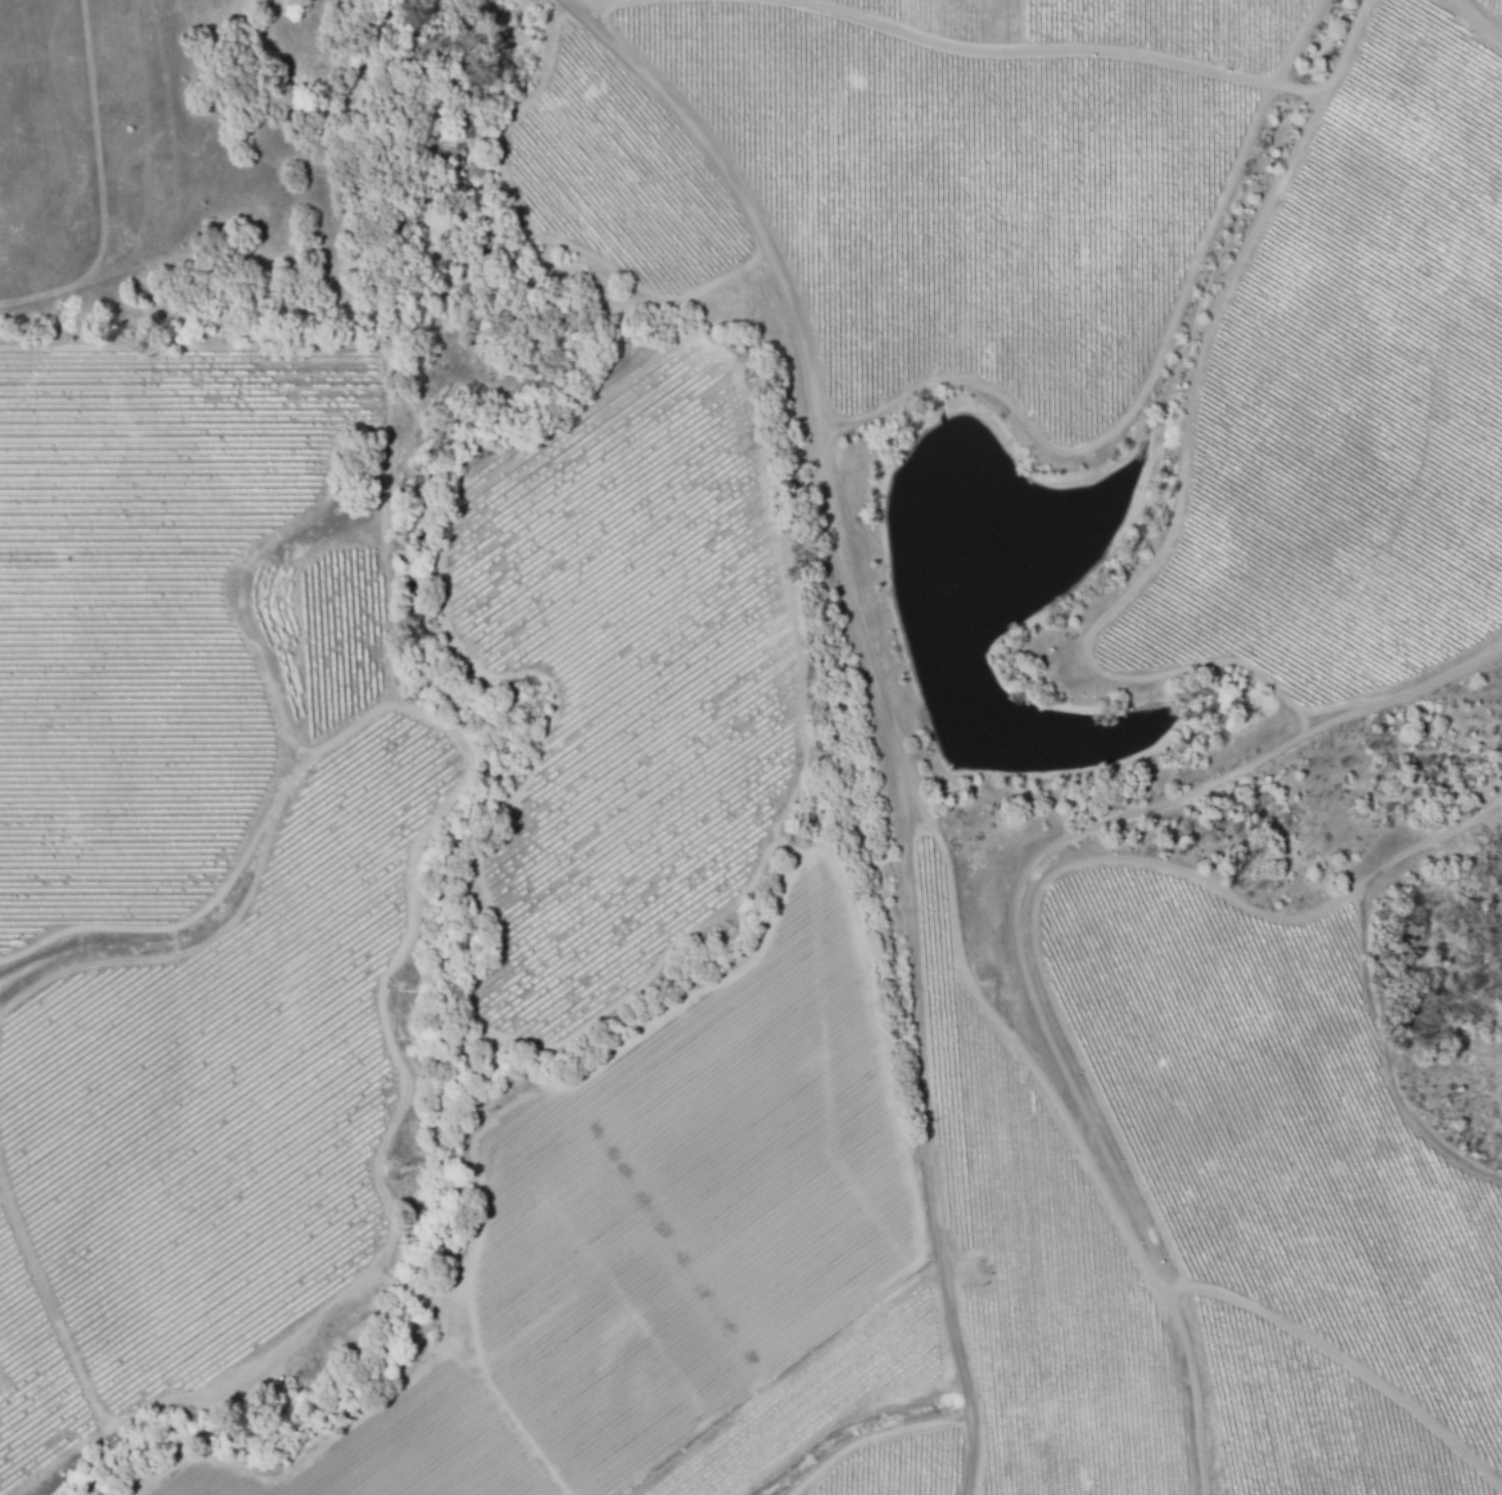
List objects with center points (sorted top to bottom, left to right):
road: (587, 19)
building: (498, 361)
road: (894, 734)
road: (921, 795)
road: (1097, 1166)

